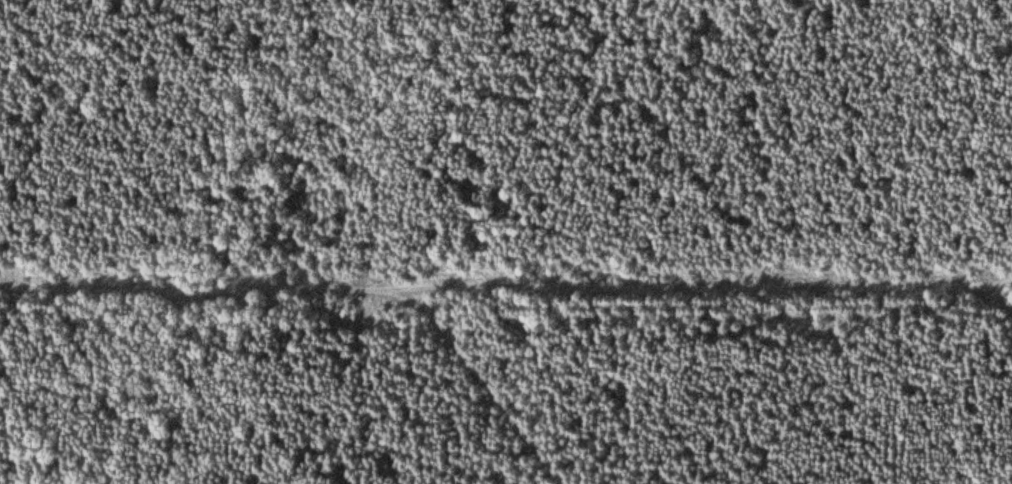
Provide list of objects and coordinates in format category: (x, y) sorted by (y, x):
road: (506, 283)
road: (490, 377)
road: (770, 447)

